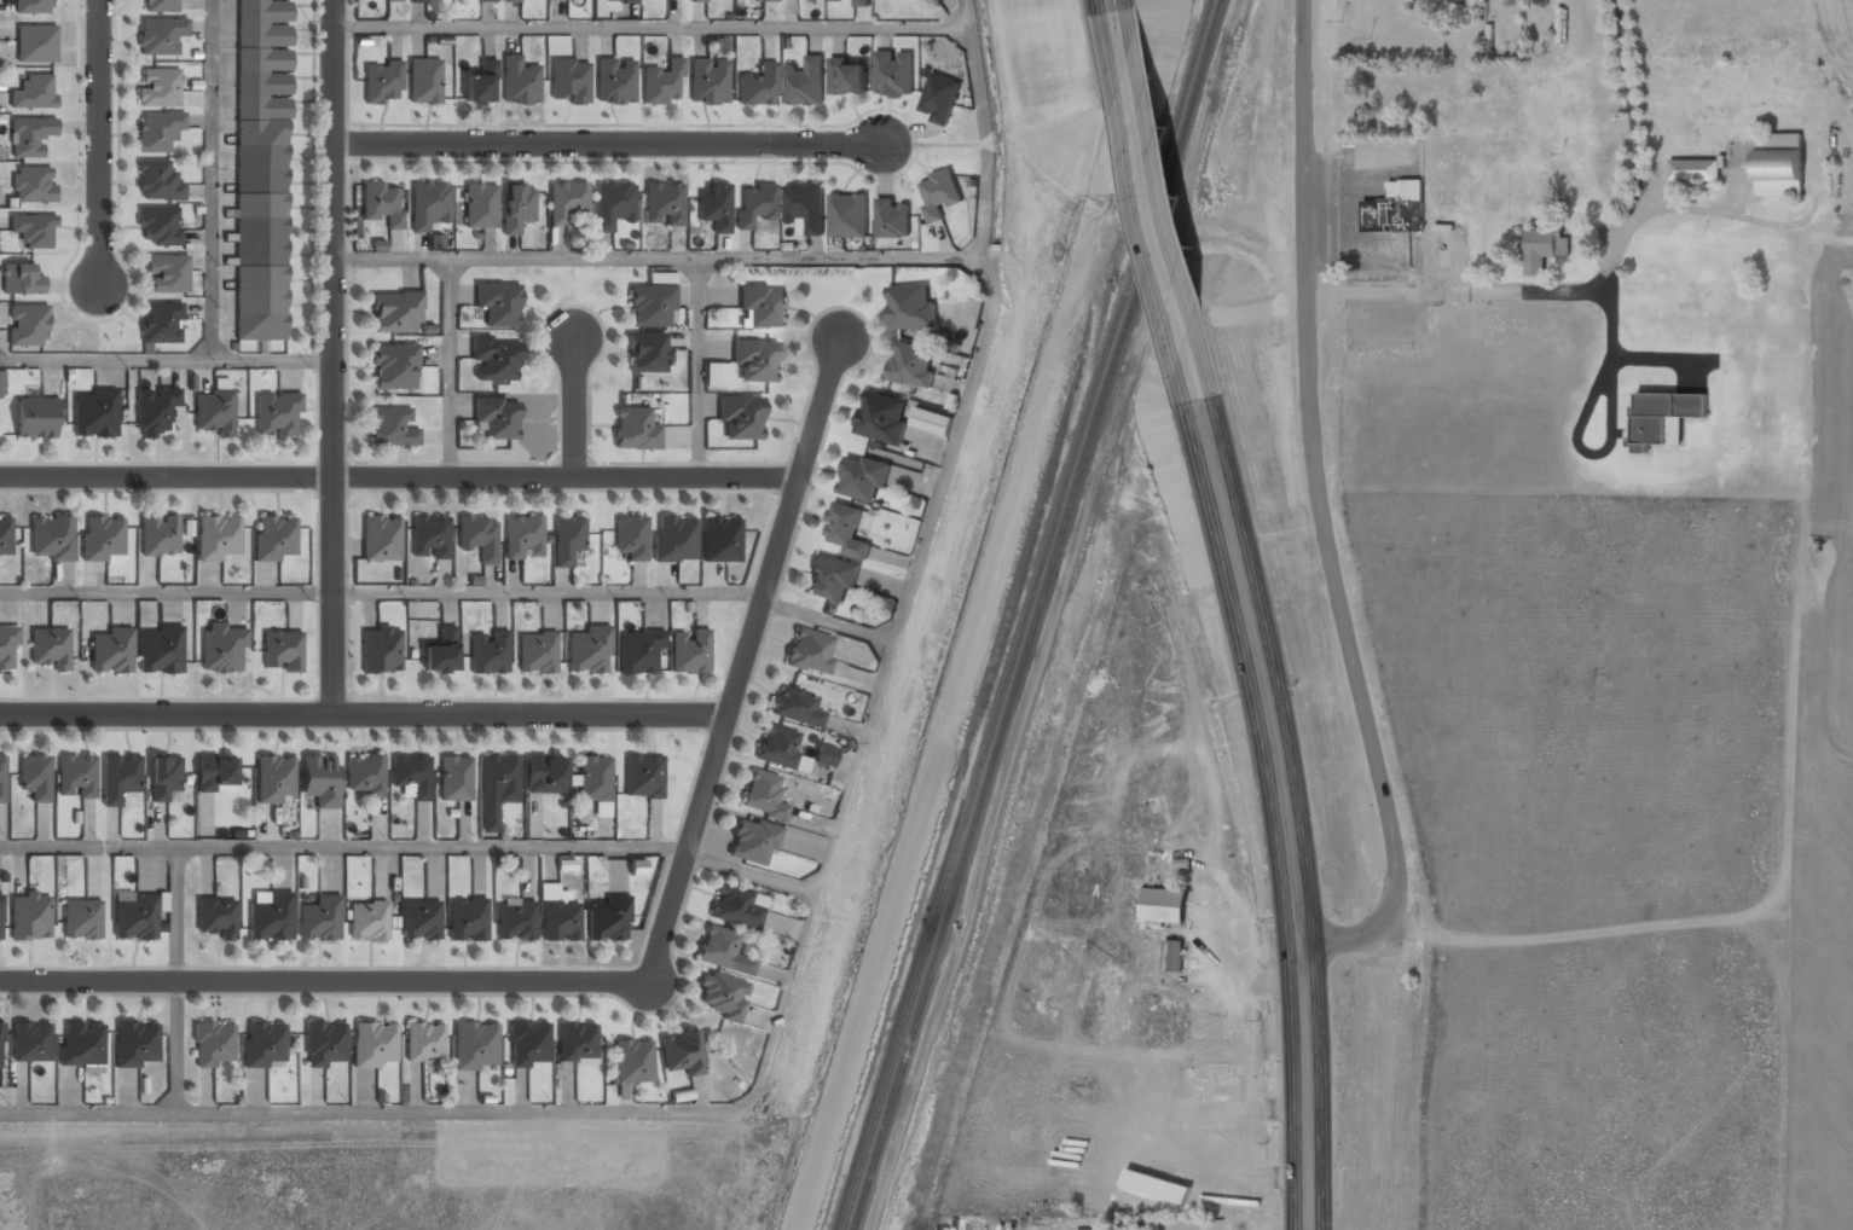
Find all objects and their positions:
building: (392, 0)
building: (487, 0)
building: (697, 0)
building: (768, 0)
building: (835, 0)
building: (417, 1)
building: (511, 1)
building: (619, 1)
building: (859, 2)
building: (35, 6)
building: (161, 6)
road: (652, 24)
road: (1114, 33)
building: (160, 37)
building: (36, 43)
building: (674, 68)
building: (894, 74)
building: (847, 76)
building: (571, 81)
building: (615, 81)
building: (424, 82)
building: (519, 82)
building: (708, 82)
building: (805, 82)
building: (382, 83)
building: (480, 85)
building: (759, 85)
building: (158, 89)
building: (34, 91)
building: (939, 98)
building: (158, 132)
building: (29, 135)
road: (103, 141)
road: (608, 144)
building: (1779, 164)
building: (261, 169)
building: (1693, 172)
road: (213, 180)
building: (158, 182)
building: (33, 184)
building: (939, 193)
building: (564, 203)
building: (382, 205)
building: (613, 205)
building: (664, 205)
building: (755, 205)
building: (429, 207)
building: (805, 207)
building: (479, 208)
building: (714, 208)
building: (1396, 208)
building: (516, 209)
building: (847, 216)
building: (892, 219)
building: (160, 228)
building: (34, 231)
road: (1157, 234)
building: (1545, 246)
road: (658, 257)
building: (167, 275)
building: (661, 278)
building: (22, 279)
building: (498, 306)
building: (650, 307)
building: (763, 307)
building: (911, 308)
building: (395, 314)
building: (161, 324)
building: (28, 330)
building: (648, 354)
road: (334, 356)
road: (166, 360)
building: (494, 360)
building: (757, 361)
building: (913, 366)
building: (394, 369)
road: (697, 369)
road: (448, 370)
building: (717, 375)
building: (1, 385)
road: (575, 408)
building: (155, 413)
building: (214, 413)
building: (94, 414)
building: (278, 414)
building: (1664, 417)
building: (497, 418)
building: (881, 418)
building: (36, 419)
building: (741, 419)
building: (932, 420)
building: (393, 430)
building: (635, 430)
building: (862, 478)
road: (400, 481)
road: (1325, 509)
building: (844, 529)
building: (6, 536)
building: (103, 538)
building: (158, 538)
building: (477, 538)
building: (52, 539)
building: (273, 539)
building: (430, 539)
building: (523, 539)
building: (630, 539)
building: (218, 540)
building: (381, 540)
building: (567, 540)
building: (673, 540)
building: (719, 541)
building: (832, 580)
road: (166, 592)
road: (549, 592)
railway: (1026, 614)
railway: (1038, 615)
road: (829, 620)
building: (7, 649)
building: (50, 649)
building: (222, 649)
building: (162, 651)
building: (381, 651)
building: (589, 651)
building: (689, 651)
building: (810, 651)
building: (111, 652)
building: (282, 652)
building: (440, 652)
building: (639, 652)
building: (488, 654)
building: (537, 654)
road: (747, 658)
building: (797, 707)
road: (365, 714)
building: (778, 747)
building: (826, 756)
building: (216, 774)
building: (364, 776)
building: (412, 776)
building: (545, 776)
building: (499, 777)
building: (2, 778)
building: (35, 778)
building: (76, 778)
building: (164, 778)
building: (643, 778)
building: (454, 779)
building: (595, 779)
building: (276, 781)
building: (319, 781)
building: (115, 785)
building: (763, 796)
road: (1282, 812)
building: (753, 842)
road: (343, 847)
building: (637, 868)
road: (751, 874)
building: (1164, 907)
building: (734, 909)
building: (0, 918)
building: (31, 918)
building: (135, 918)
building: (216, 918)
road: (811, 918)
building: (82, 919)
building: (270, 919)
building: (320, 919)
building: (609, 919)
building: (467, 921)
building: (369, 922)
building: (421, 922)
building: (515, 922)
building: (560, 922)
building: (719, 948)
road: (1299, 952)
building: (1172, 956)
road: (175, 980)
road: (322, 980)
building: (723, 999)
building: (424, 1043)
building: (0, 1044)
building: (30, 1044)
building: (577, 1044)
building: (82, 1045)
building: (138, 1045)
building: (325, 1045)
building: (375, 1045)
building: (528, 1045)
building: (214, 1046)
building: (264, 1046)
building: (475, 1046)
building: (682, 1054)
building: (631, 1064)
building: (1156, 1187)
building: (1116, 1229)

